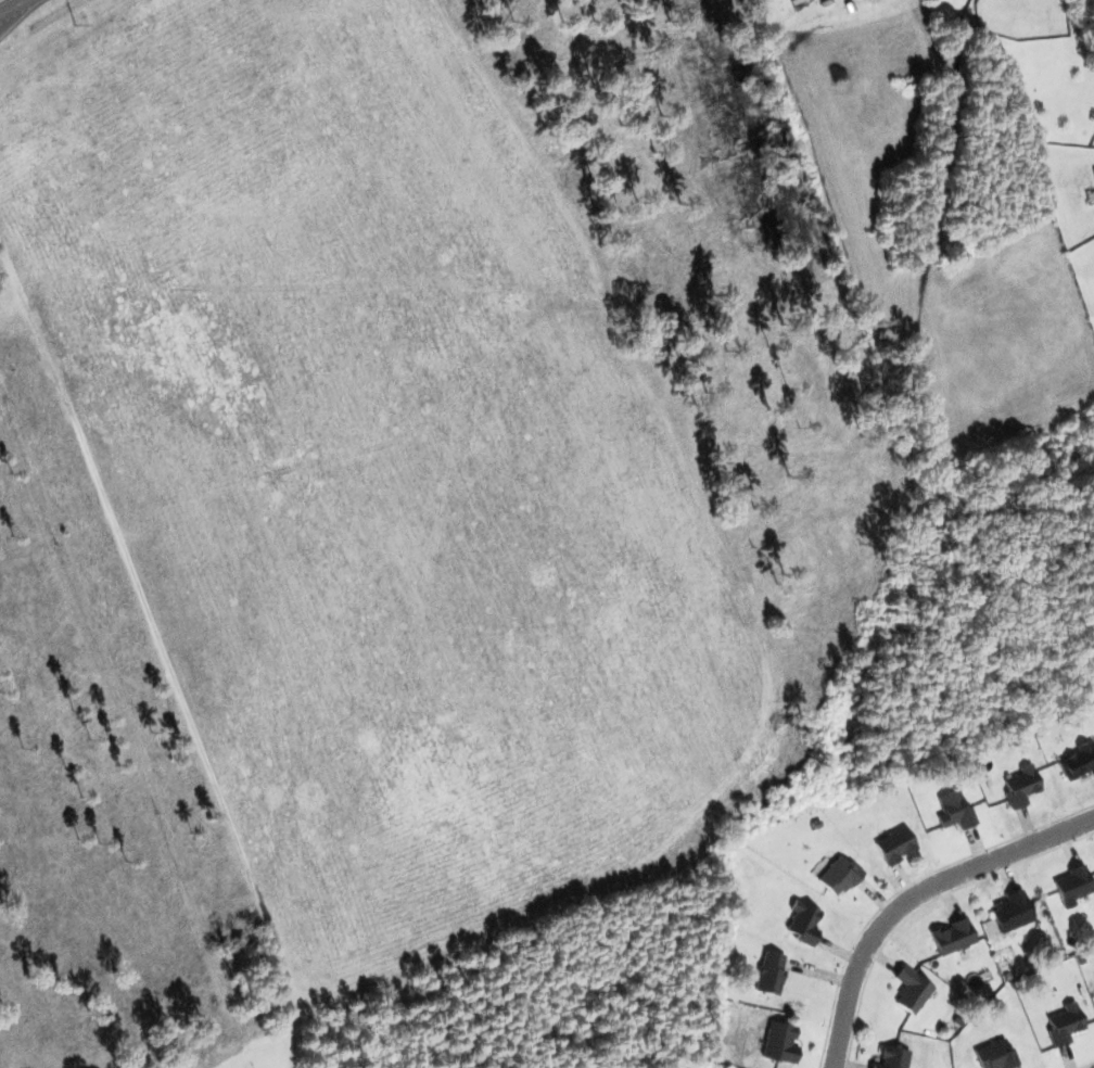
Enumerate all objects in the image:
road: (2, 1)
building: (1093, 171)
crop: (367, 458)
building: (1078, 761)
building: (1020, 786)
building: (954, 811)
building: (894, 846)
building: (839, 876)
building: (1072, 885)
road: (911, 895)
building: (1012, 912)
building: (803, 921)
building: (953, 936)
building: (769, 972)
building: (911, 990)
building: (1064, 1024)
building: (779, 1042)
building: (995, 1055)
building: (892, 1057)

